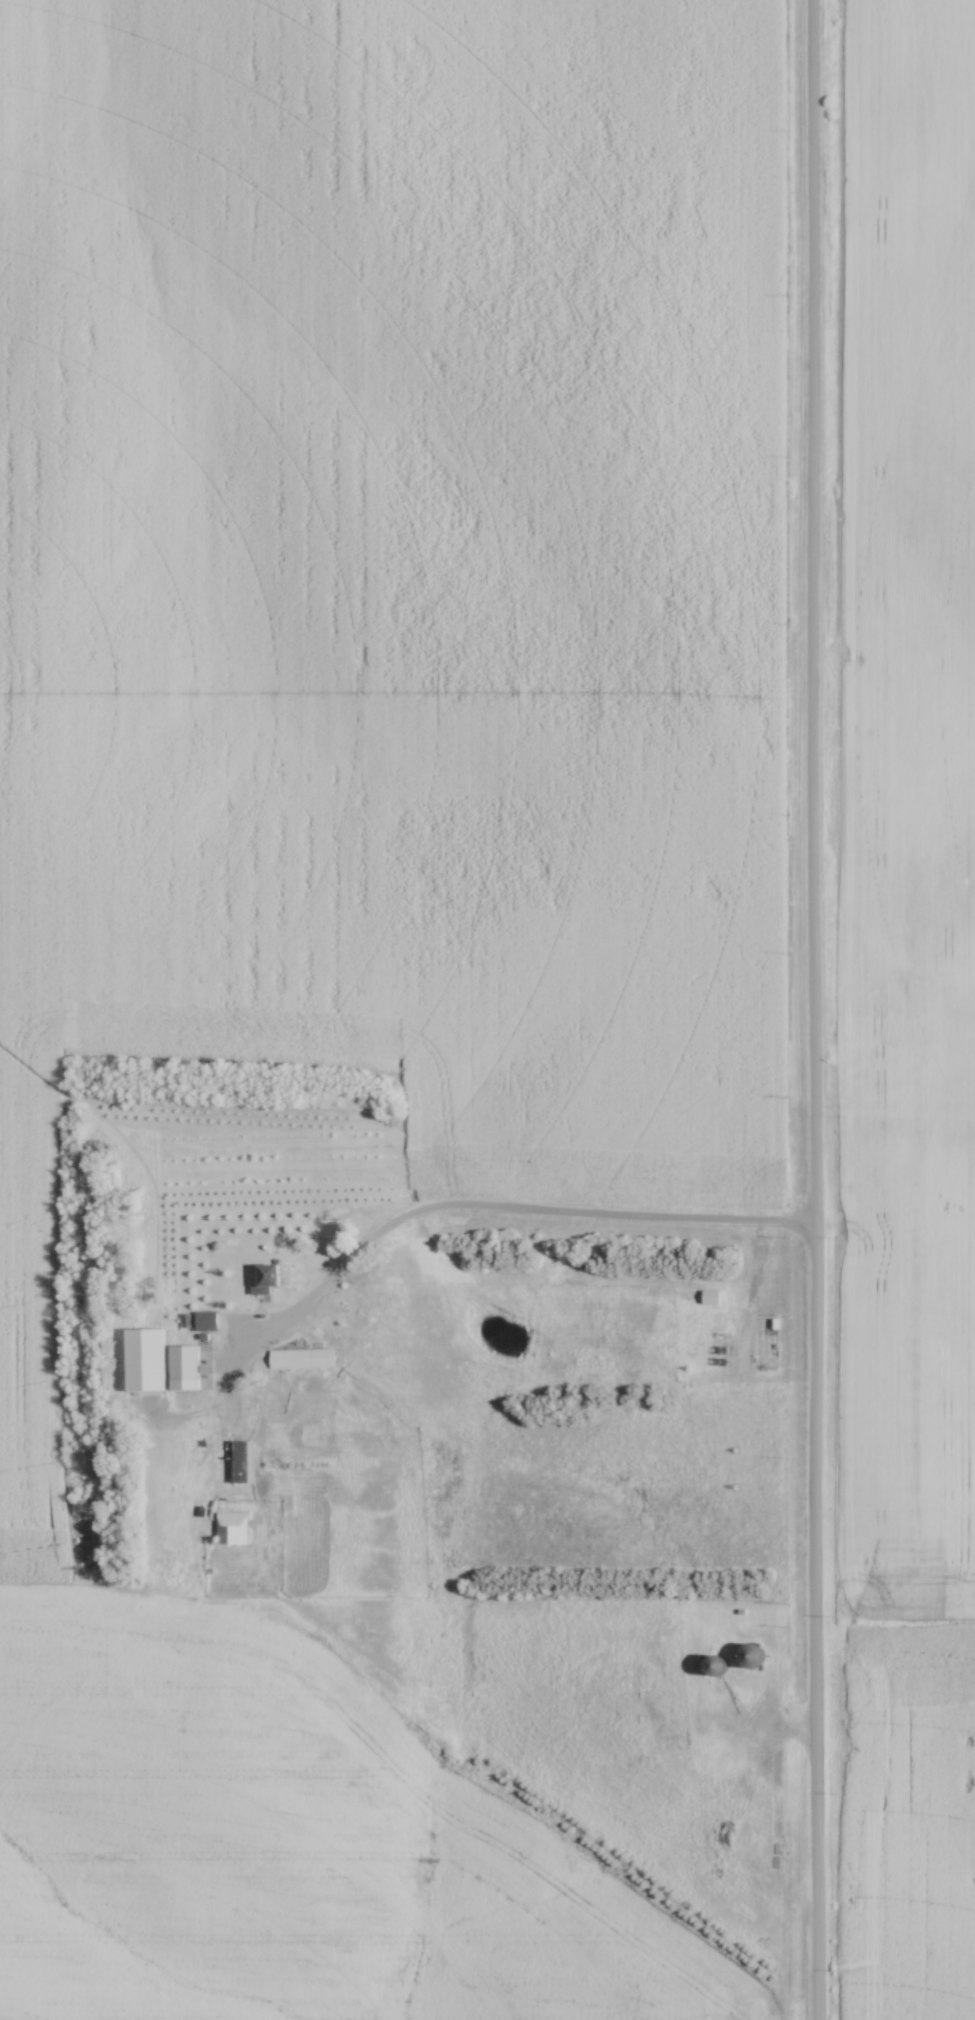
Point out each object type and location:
road: (811, 1009)
road: (504, 1214)
building: (225, 1235)
building: (267, 1283)
building: (208, 1323)
building: (769, 1344)
building: (304, 1361)
building: (187, 1373)
building: (242, 1463)
building: (233, 1529)
building: (752, 1658)

